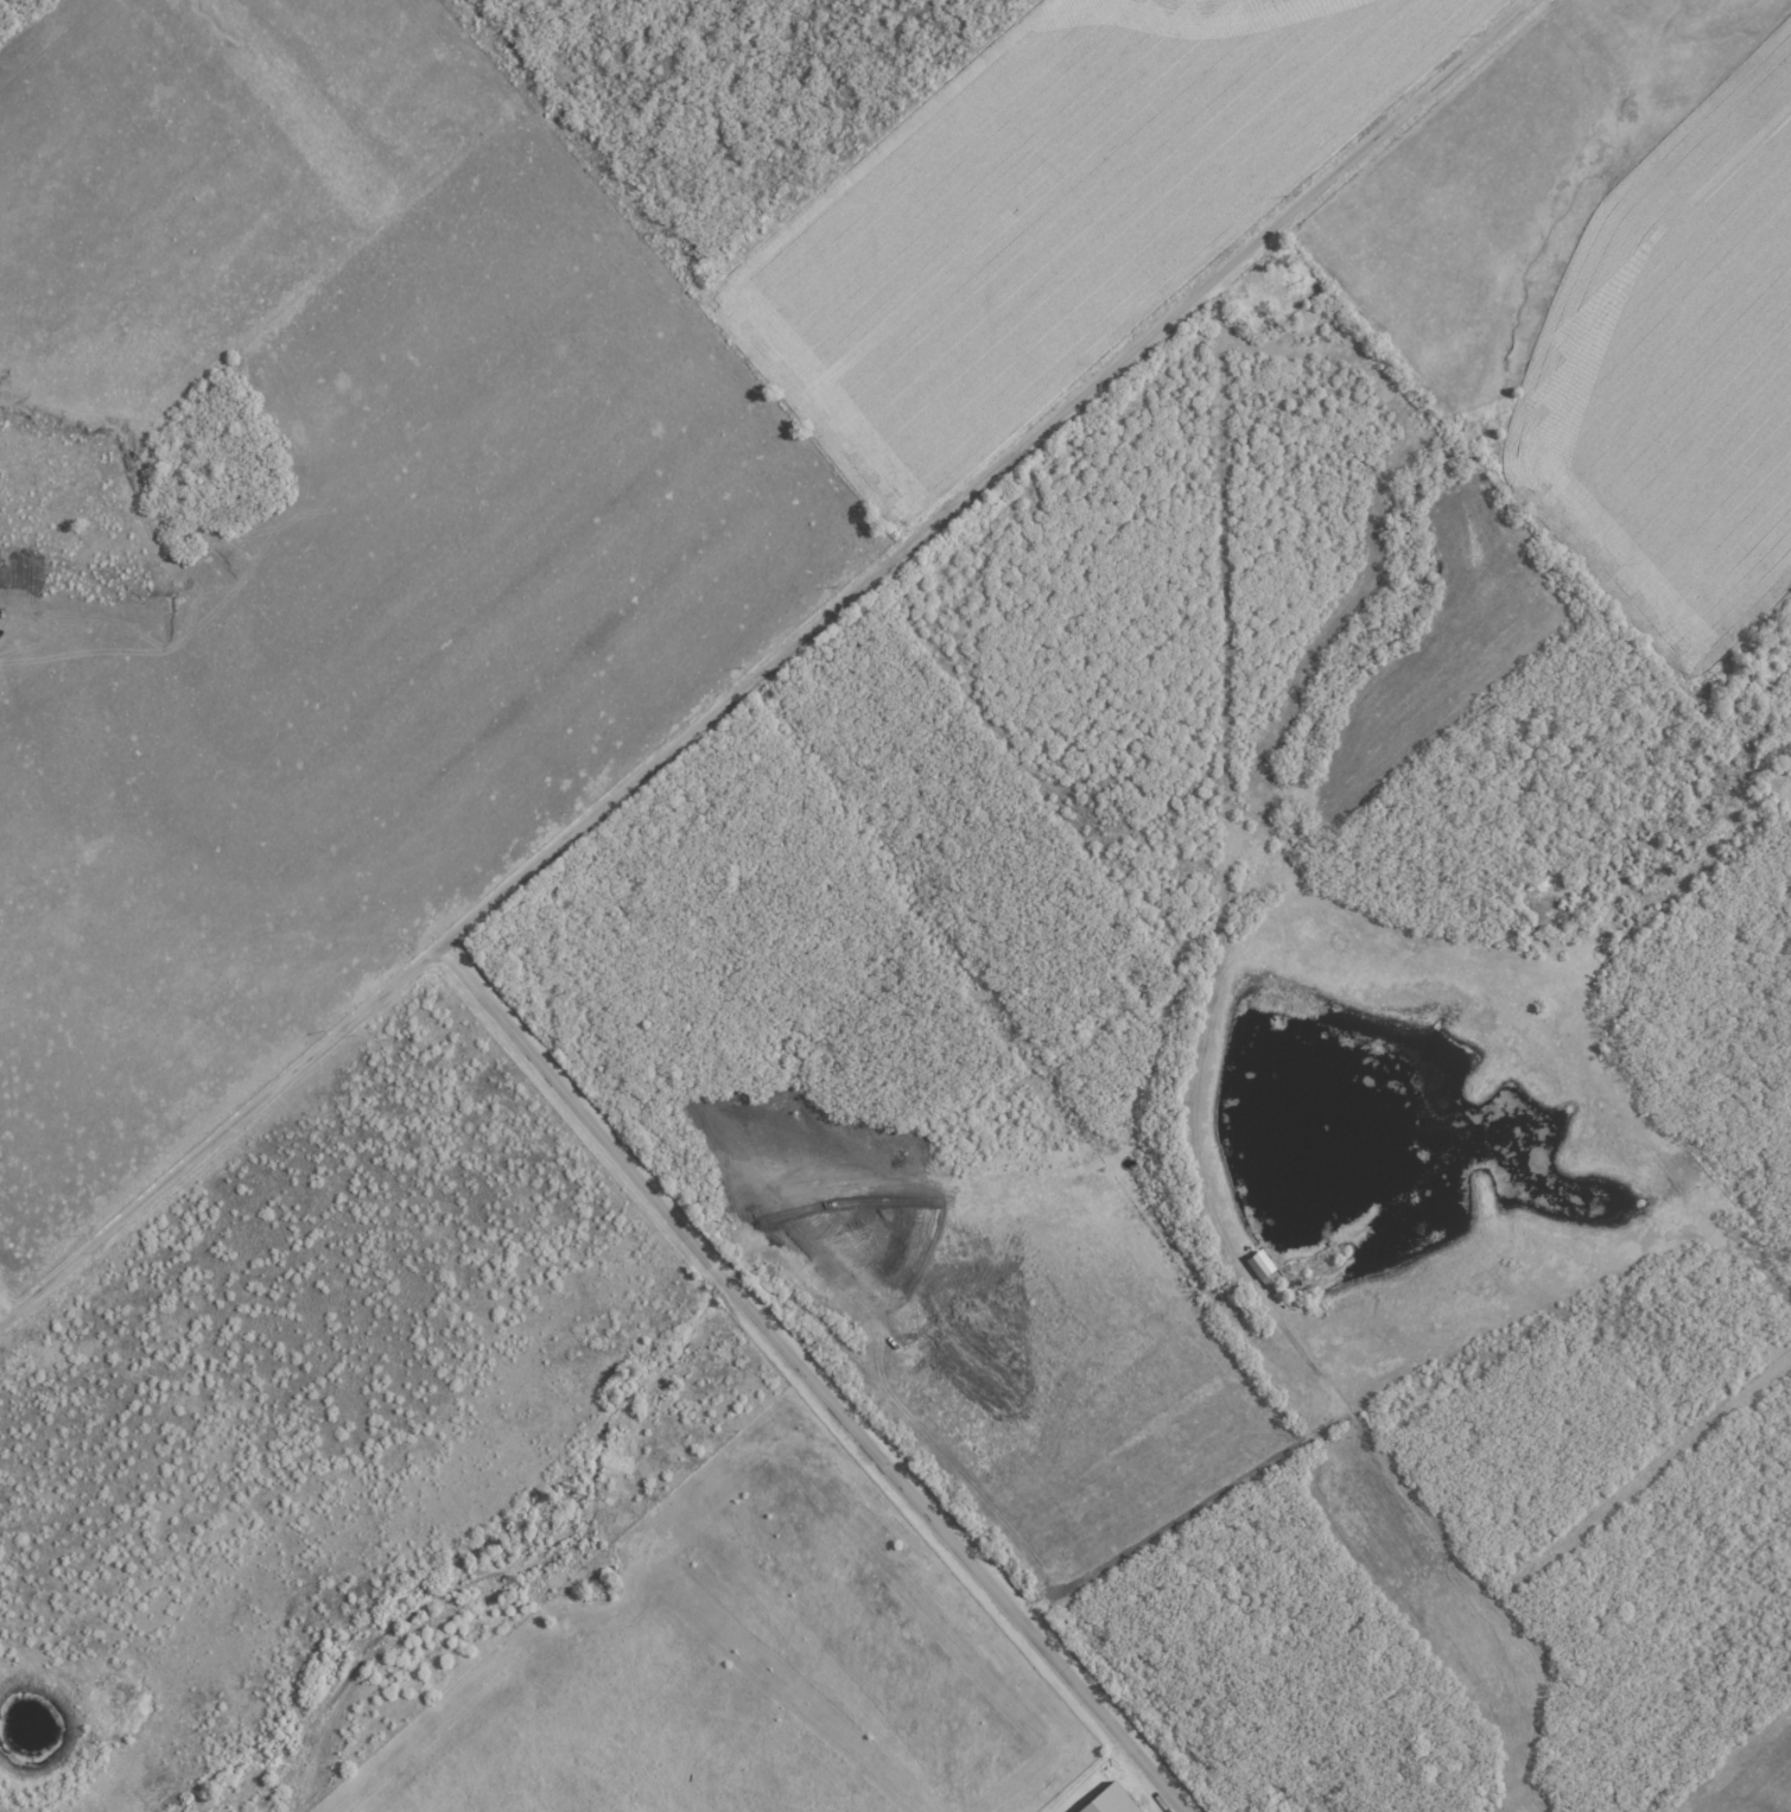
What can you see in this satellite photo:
park: (1263, 298)
road: (768, 666)
road: (4, 1315)
road: (814, 1381)
building: (1107, 1800)

